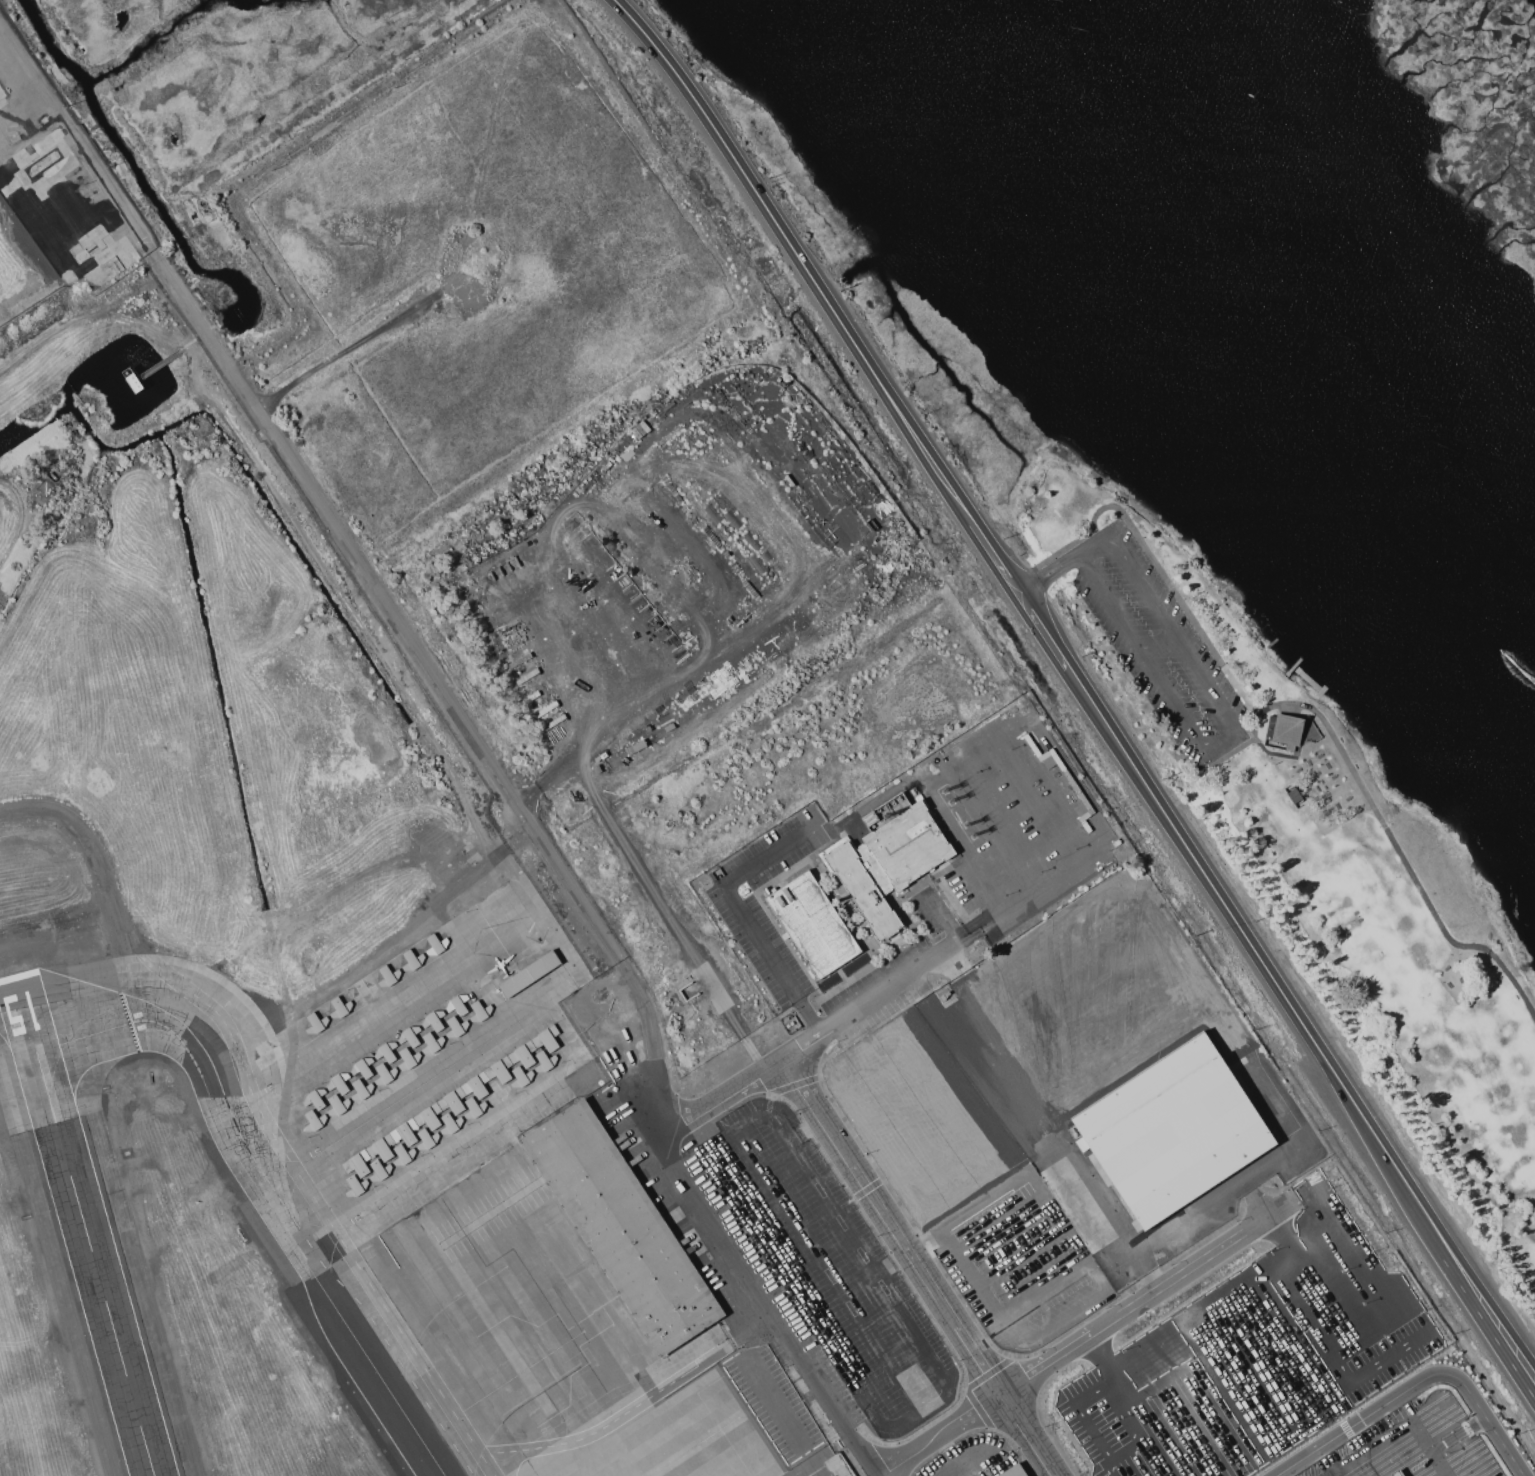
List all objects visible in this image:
building: (2, 93)
building: (42, 164)
building: (29, 209)
building: (82, 256)
road: (801, 256)
building: (109, 263)
road: (312, 488)
road: (753, 501)
road: (1150, 557)
road: (997, 558)
road: (1049, 574)
road: (1044, 631)
road: (1156, 640)
parking lot: (1159, 648)
pier: (1303, 654)
building: (1285, 731)
road: (1234, 736)
road: (1020, 751)
road: (1292, 759)
road: (934, 802)
road: (1020, 810)
road: (1315, 818)
road: (994, 826)
road: (1387, 832)
airport: (578, 845)
park: (1322, 852)
building: (889, 863)
road: (1048, 885)
road: (939, 914)
road: (667, 915)
road: (743, 917)
building: (813, 924)
building: (436, 945)
road: (1051, 946)
road: (1258, 959)
building: (412, 960)
road: (945, 969)
building: (529, 974)
building: (388, 976)
building: (364, 992)
building: (457, 1004)
building: (340, 1008)
airport taxiway: (19, 1011)
building: (480, 1012)
building: (434, 1020)
building: (316, 1023)
road: (978, 1025)
building: (456, 1027)
airport runway: (33, 1034)
road: (823, 1034)
building: (1013, 1035)
building: (410, 1036)
building: (547, 1038)
airport hangar: (427, 1042)
building: (431, 1043)
building: (386, 1051)
building: (523, 1054)
building: (266, 1055)
building: (408, 1059)
building: (544, 1062)
building: (362, 1067)
building: (499, 1070)
building: (384, 1074)
building: (521, 1077)
building: (338, 1082)
building: (1078, 1084)
building: (476, 1085)
building: (361, 1090)
building: (497, 1092)
building: (315, 1098)
building: (452, 1100)
building: (337, 1105)
building: (474, 1108)
building: (1264, 1108)
building: (429, 1116)
building: (314, 1121)
building: (450, 1124)
road: (810, 1124)
building: (405, 1132)
road: (793, 1134)
building: (427, 1139)
building: (381, 1147)
building: (403, 1155)
building: (357, 1163)
building: (379, 1171)
airport taxiway: (258, 1185)
building: (356, 1186)
road: (1042, 1196)
road: (1266, 1215)
building: (614, 1225)
airport runway: (87, 1226)
airport apron: (521, 1227)
road: (718, 1230)
road: (925, 1238)
road: (1290, 1250)
road: (899, 1254)
road: (1021, 1256)
road: (1295, 1265)
road: (881, 1266)
road: (921, 1267)
road: (827, 1272)
road: (1045, 1290)
road: (1149, 1296)
road: (1390, 1312)
road: (1067, 1314)
road: (1491, 1318)
road: (1104, 1358)
parking lot: (1248, 1365)
road: (1218, 1373)
road: (756, 1376)
road: (1260, 1391)
road: (865, 1405)
road: (1363, 1421)
road: (1381, 1421)
road: (1491, 1421)
road: (1097, 1422)
road: (1475, 1424)
road: (941, 1435)
road: (1361, 1436)
parking lot: (1433, 1439)
parking lot: (1353, 1458)
road: (1365, 1463)
road: (1329, 1465)
road: (988, 1466)
parking lot: (1313, 1470)
building: (1013, 1471)
road: (1310, 1474)

